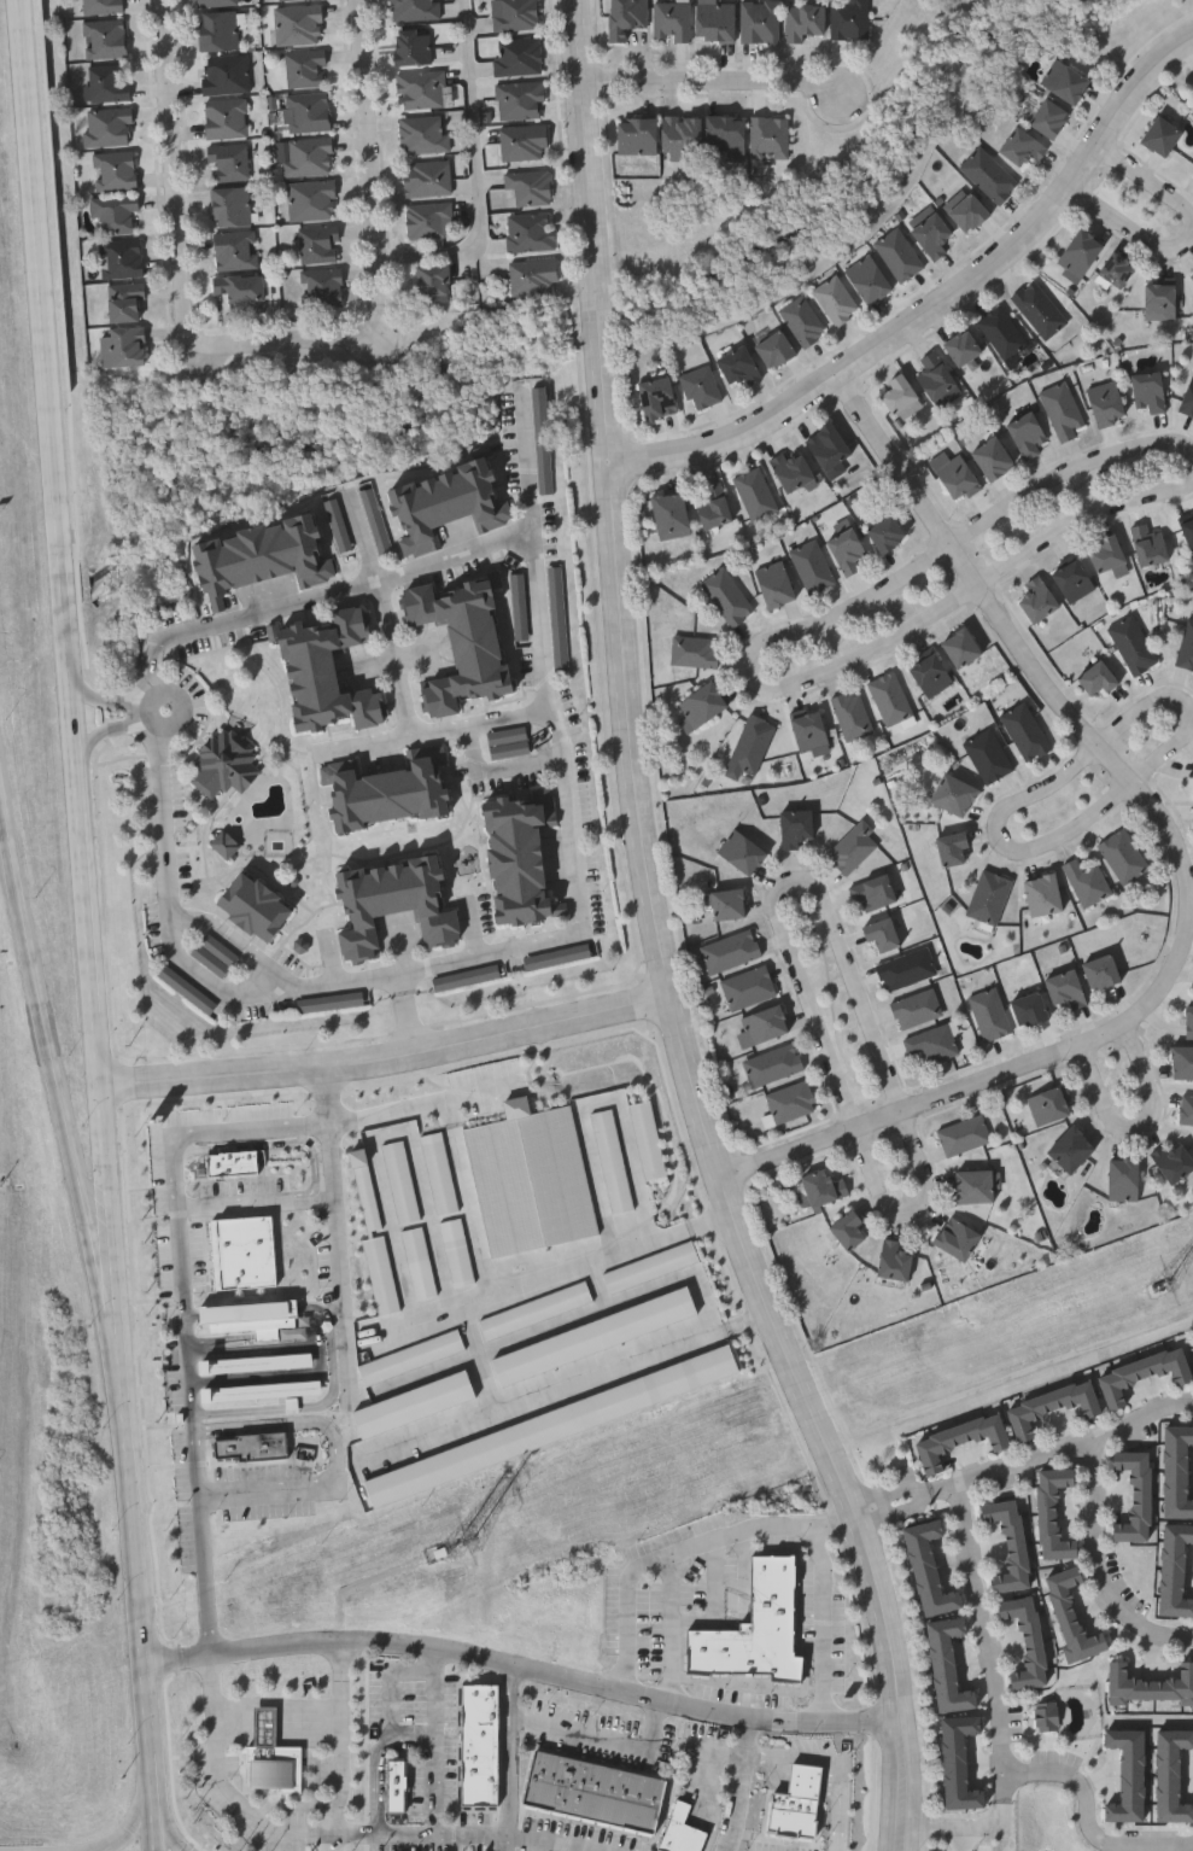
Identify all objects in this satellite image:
building: (298, 0)
building: (216, 2)
building: (103, 6)
building: (416, 10)
building: (515, 14)
building: (627, 17)
building: (849, 18)
building: (715, 19)
building: (673, 21)
building: (760, 21)
building: (803, 21)
building: (299, 24)
building: (220, 30)
building: (106, 39)
building: (413, 46)
building: (519, 56)
building: (308, 69)
building: (228, 75)
building: (1064, 78)
building: (110, 83)
building: (422, 89)
road: (714, 95)
building: (521, 99)
building: (309, 112)
building: (1047, 115)
building: (227, 118)
building: (110, 127)
building: (725, 133)
building: (1160, 133)
building: (425, 135)
building: (637, 135)
building: (770, 136)
building: (682, 138)
building: (525, 142)
building: (1021, 144)
building: (310, 157)
building: (230, 162)
road: (372, 168)
building: (116, 170)
road: (478, 170)
building: (988, 173)
building: (428, 179)
building: (531, 187)
road: (1150, 191)
building: (312, 200)
building: (232, 206)
building: (966, 210)
building: (117, 214)
building: (429, 221)
building: (532, 232)
building: (931, 232)
road: (1133, 239)
building: (320, 244)
building: (236, 249)
building: (897, 252)
building: (1078, 252)
building: (122, 258)
building: (1116, 267)
road: (177, 268)
building: (1192, 270)
building: (1192, 275)
building: (533, 276)
building: (867, 276)
building: (432, 282)
building: (323, 288)
building: (241, 292)
building: (835, 297)
building: (1159, 299)
building: (125, 300)
building: (1039, 308)
building: (802, 317)
road: (945, 322)
building: (1002, 329)
building: (961, 344)
building: (123, 346)
building: (774, 346)
road: (53, 350)
building: (738, 363)
building: (935, 374)
building: (701, 385)
building: (1148, 389)
building: (897, 391)
building: (1188, 393)
building: (655, 395)
building: (1105, 399)
building: (1062, 407)
building: (1027, 431)
building: (829, 446)
building: (992, 455)
building: (791, 468)
building: (954, 472)
building: (756, 491)
building: (713, 503)
building: (445, 506)
building: (669, 513)
building: (1188, 529)
building: (885, 530)
building: (1148, 542)
building: (847, 549)
building: (1106, 550)
building: (263, 556)
building: (812, 565)
building: (1072, 578)
building: (774, 582)
road: (352, 585)
building: (727, 595)
building: (1036, 597)
road: (1012, 632)
building: (1133, 642)
building: (461, 643)
road: (159, 644)
building: (960, 644)
building: (1186, 646)
building: (694, 649)
road: (392, 655)
road: (152, 666)
road: (543, 670)
building: (327, 672)
building: (930, 672)
road: (760, 676)
building: (1095, 676)
road: (181, 677)
road: (400, 684)
building: (890, 696)
road: (107, 700)
building: (700, 703)
building: (852, 713)
road: (82, 719)
building: (808, 729)
building: (1025, 729)
road: (117, 736)
road: (368, 741)
building: (750, 745)
building: (988, 753)
building: (227, 766)
road: (501, 767)
building: (388, 793)
building: (953, 793)
road: (165, 795)
building: (795, 825)
road: (1011, 831)
building: (852, 845)
building: (952, 845)
building: (228, 847)
building: (741, 849)
building: (1123, 854)
building: (520, 858)
road: (94, 874)
building: (1087, 880)
building: (872, 889)
building: (1042, 893)
building: (988, 895)
building: (727, 901)
building: (394, 906)
building: (255, 909)
building: (881, 933)
road: (174, 938)
road: (238, 941)
road: (663, 942)
building: (730, 948)
building: (218, 956)
building: (906, 968)
road: (413, 969)
building: (1100, 970)
road: (404, 981)
building: (748, 986)
building: (1065, 987)
building: (916, 1006)
building: (1028, 1006)
building: (989, 1011)
building: (1189, 1020)
road: (410, 1023)
building: (764, 1023)
building: (931, 1041)
road: (883, 1051)
road: (831, 1057)
road: (393, 1058)
building: (1182, 1061)
building: (772, 1063)
road: (1146, 1068)
road: (981, 1092)
road: (328, 1097)
building: (790, 1099)
building: (1048, 1103)
road: (426, 1105)
building: (1186, 1108)
road: (1113, 1119)
road: (221, 1133)
building: (964, 1133)
building: (1070, 1148)
road: (70, 1157)
building: (1172, 1160)
building: (1122, 1178)
building: (973, 1185)
building: (821, 1186)
road: (258, 1203)
building: (847, 1228)
building: (955, 1237)
building: (893, 1260)
road: (340, 1261)
road: (117, 1263)
power tower: (1168, 1283)
road: (526, 1284)
building: (255, 1318)
road: (189, 1354)
building: (256, 1362)
building: (1140, 1374)
building: (261, 1389)
road: (573, 1389)
building: (1049, 1406)
building: (959, 1440)
building: (253, 1444)
road: (1062, 1447)
road: (337, 1454)
building: (1134, 1494)
road: (895, 1507)
building: (1051, 1512)
building: (1007, 1543)
power tower: (456, 1551)
road: (690, 1554)
road: (1095, 1566)
road: (135, 1570)
road: (206, 1577)
building: (1071, 1616)
road: (824, 1624)
building: (755, 1627)
road: (672, 1633)
road: (992, 1640)
building: (1024, 1641)
road: (524, 1666)
building: (1150, 1684)
building: (1045, 1715)
road: (146, 1723)
road: (597, 1735)
building: (479, 1741)
road: (708, 1744)
road: (346, 1748)
building: (270, 1757)
road: (511, 1758)
road: (376, 1762)
road: (837, 1763)
road: (1188, 1775)
road: (1191, 1777)
building: (396, 1782)
road: (741, 1785)
road: (222, 1787)
road: (434, 1792)
building: (592, 1794)
road: (129, 1811)
road: (717, 1815)
road: (1089, 1818)
building: (682, 1829)
road: (966, 1829)
road: (472, 1835)
road: (152, 1838)
road: (160, 1838)
road: (555, 1840)
road: (963, 1840)

